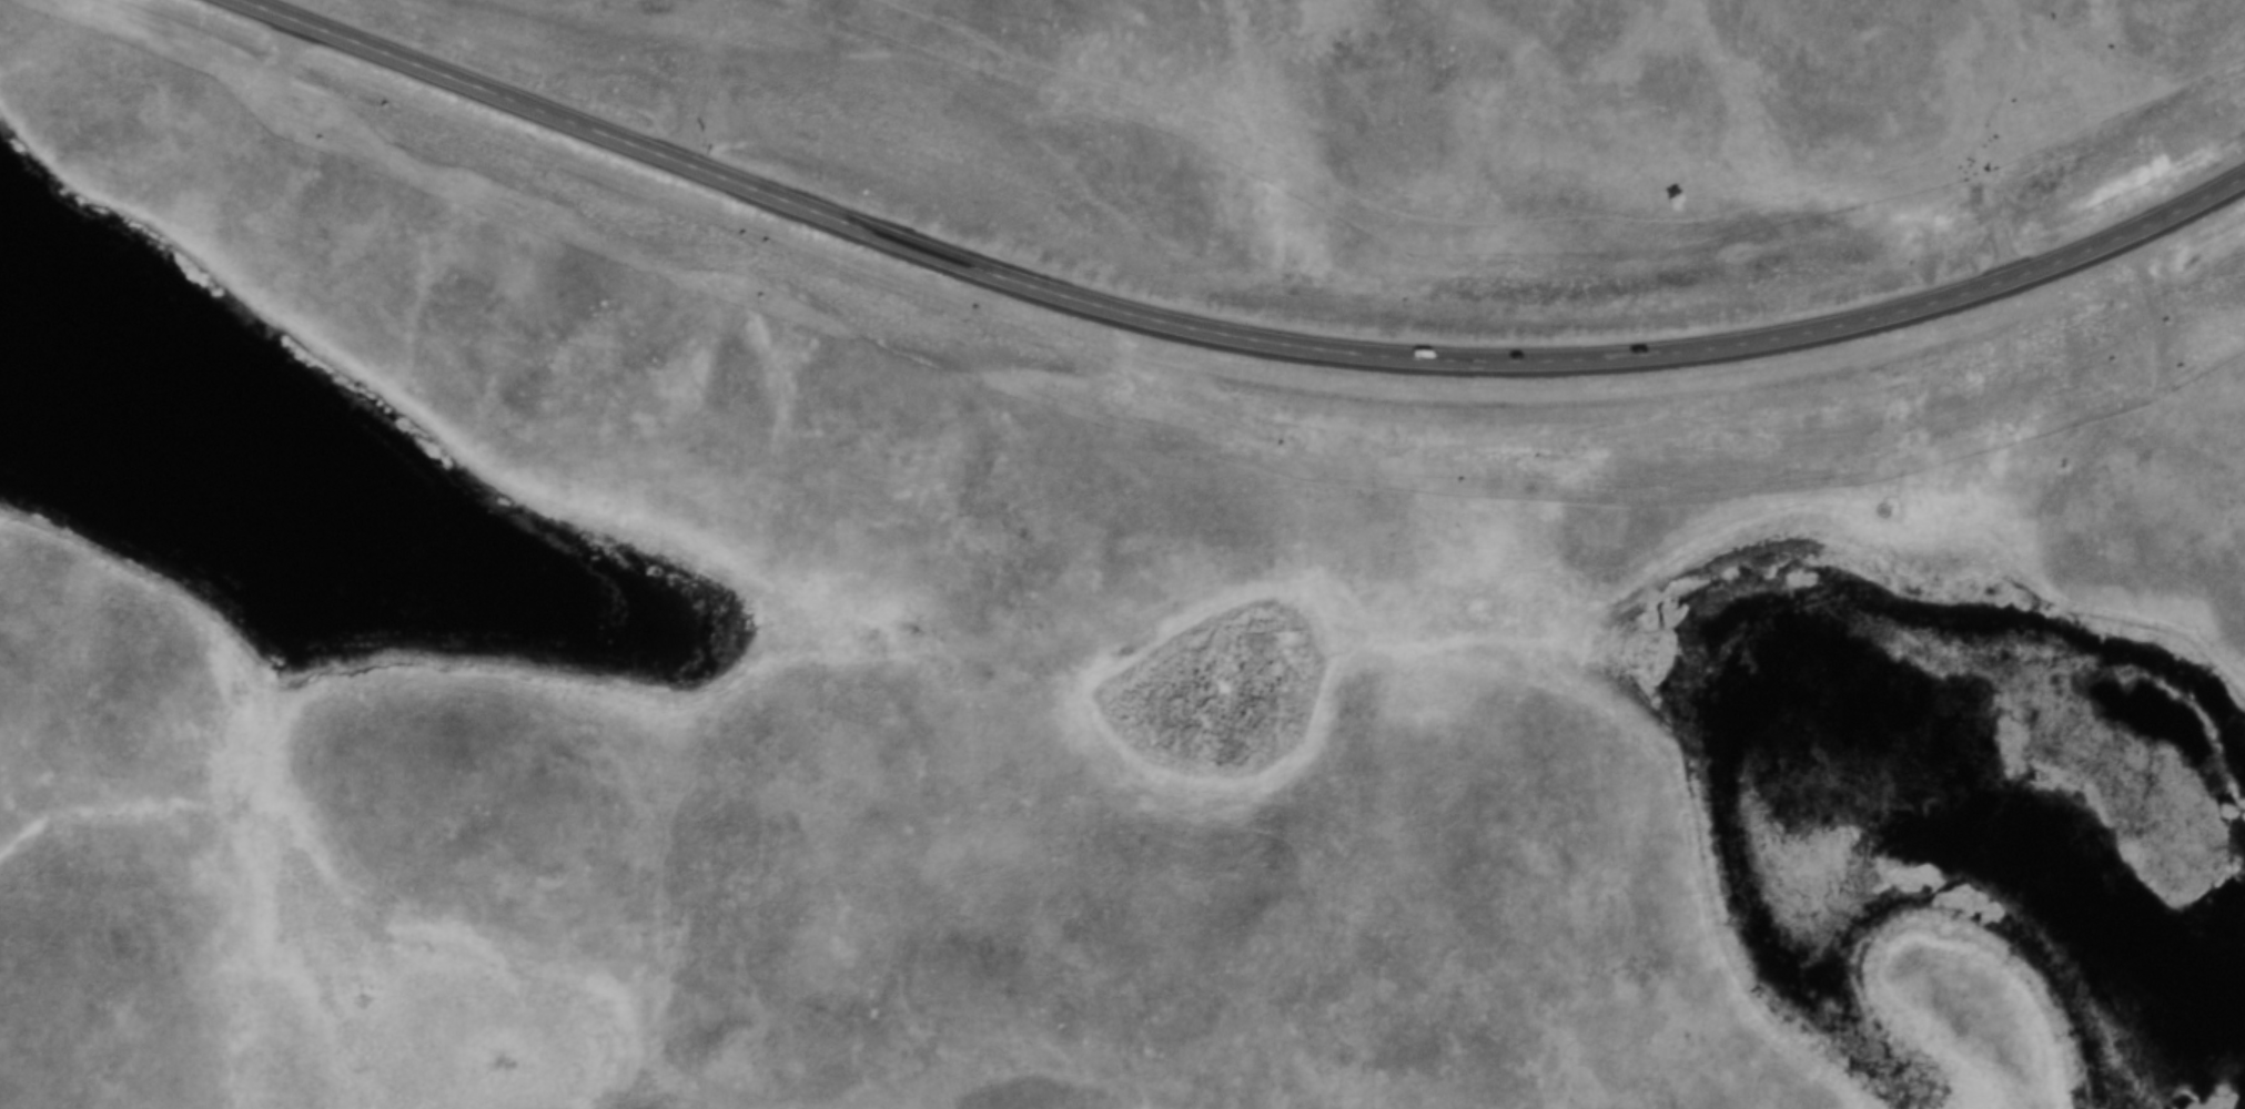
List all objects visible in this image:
road: (1227, 363)

